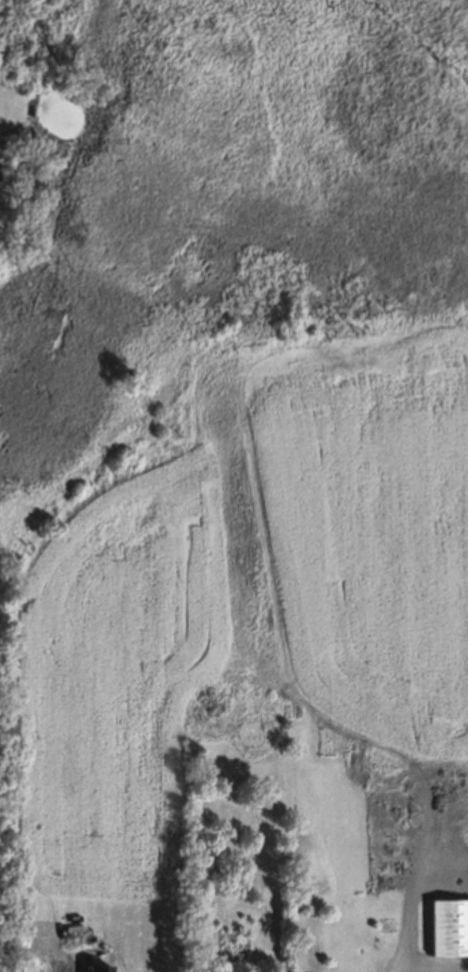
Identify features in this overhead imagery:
building: (449, 928)
road: (405, 969)

